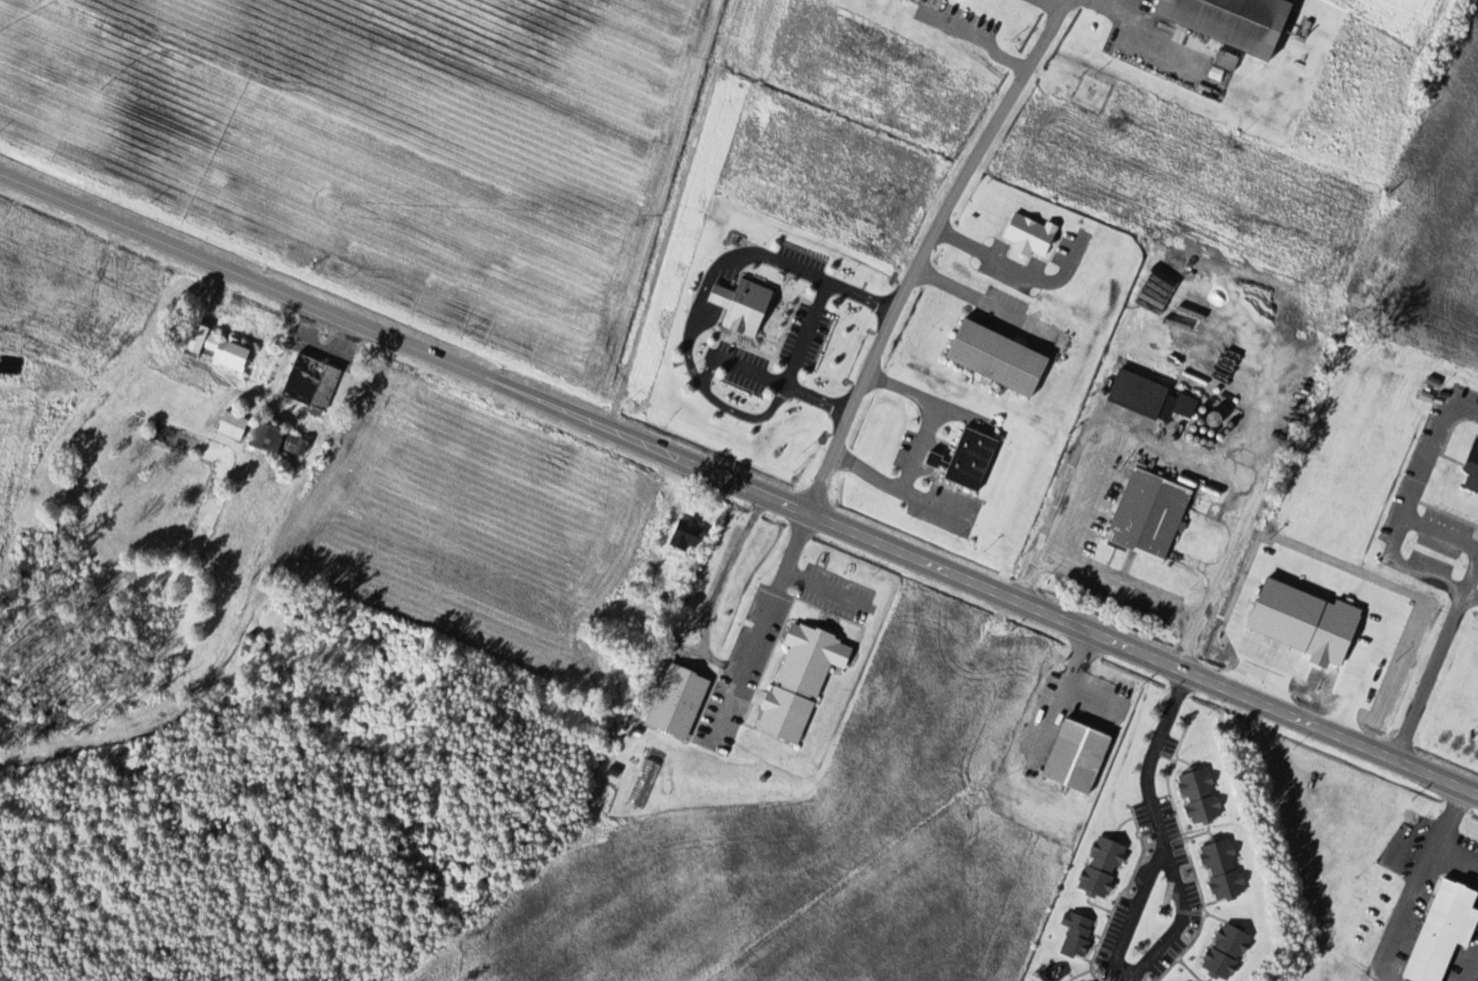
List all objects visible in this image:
building: (918, 0)
parking lot: (965, 13)
building: (1229, 22)
road: (927, 250)
building: (681, 259)
building: (745, 317)
building: (219, 348)
building: (997, 357)
building: (312, 382)
building: (1149, 397)
building: (234, 425)
building: (276, 441)
building: (971, 459)
building: (282, 466)
building: (1472, 469)
road: (738, 484)
building: (601, 505)
road: (1410, 506)
building: (1150, 524)
road: (1444, 532)
building: (685, 535)
road: (1472, 580)
road: (832, 589)
road: (1472, 594)
road: (774, 605)
building: (1376, 614)
building: (1330, 632)
building: (268, 646)
road: (1432, 676)
building: (801, 681)
building: (1079, 766)
building: (1201, 796)
building: (1102, 867)
building: (1223, 870)
road: (1184, 897)
building: (1077, 934)
building: (1444, 938)
building: (1227, 952)

